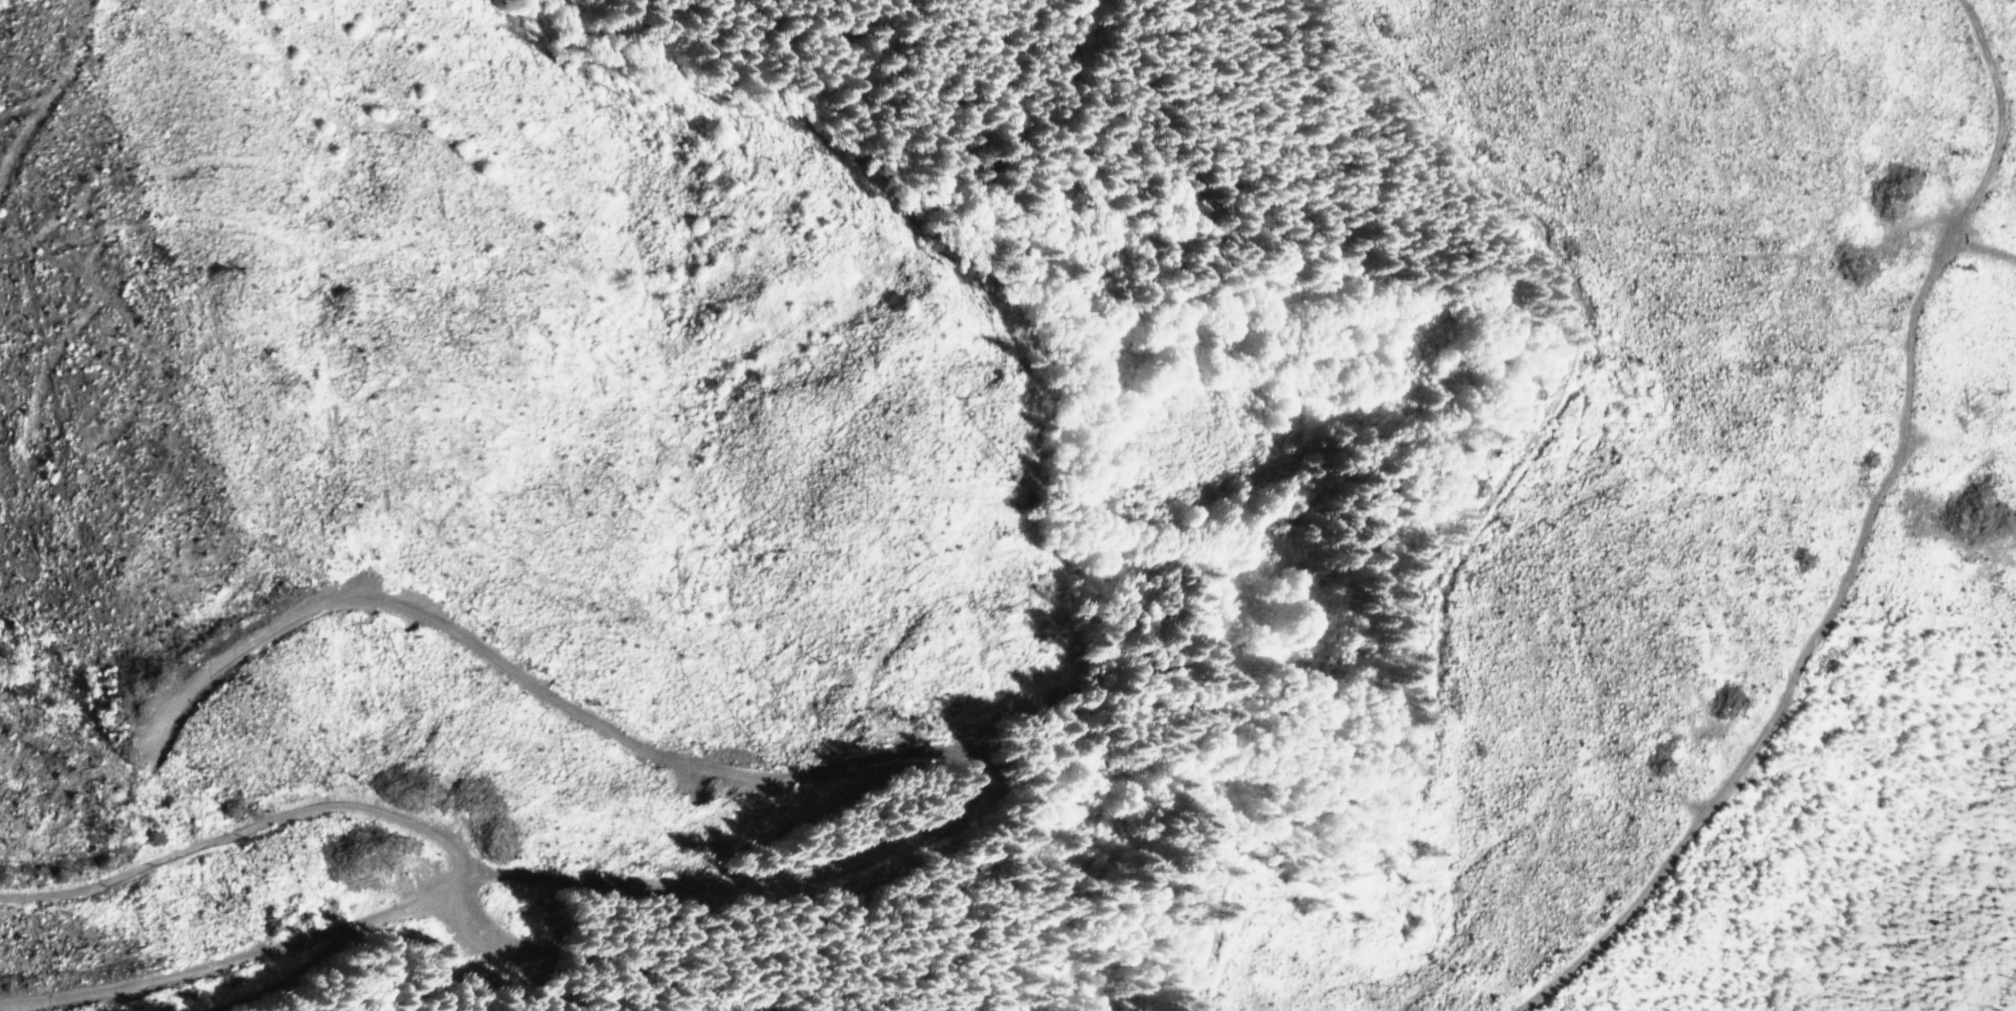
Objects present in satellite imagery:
road: (1987, 247)
road: (1480, 505)
road: (1873, 544)
road: (441, 831)
road: (324, 952)

